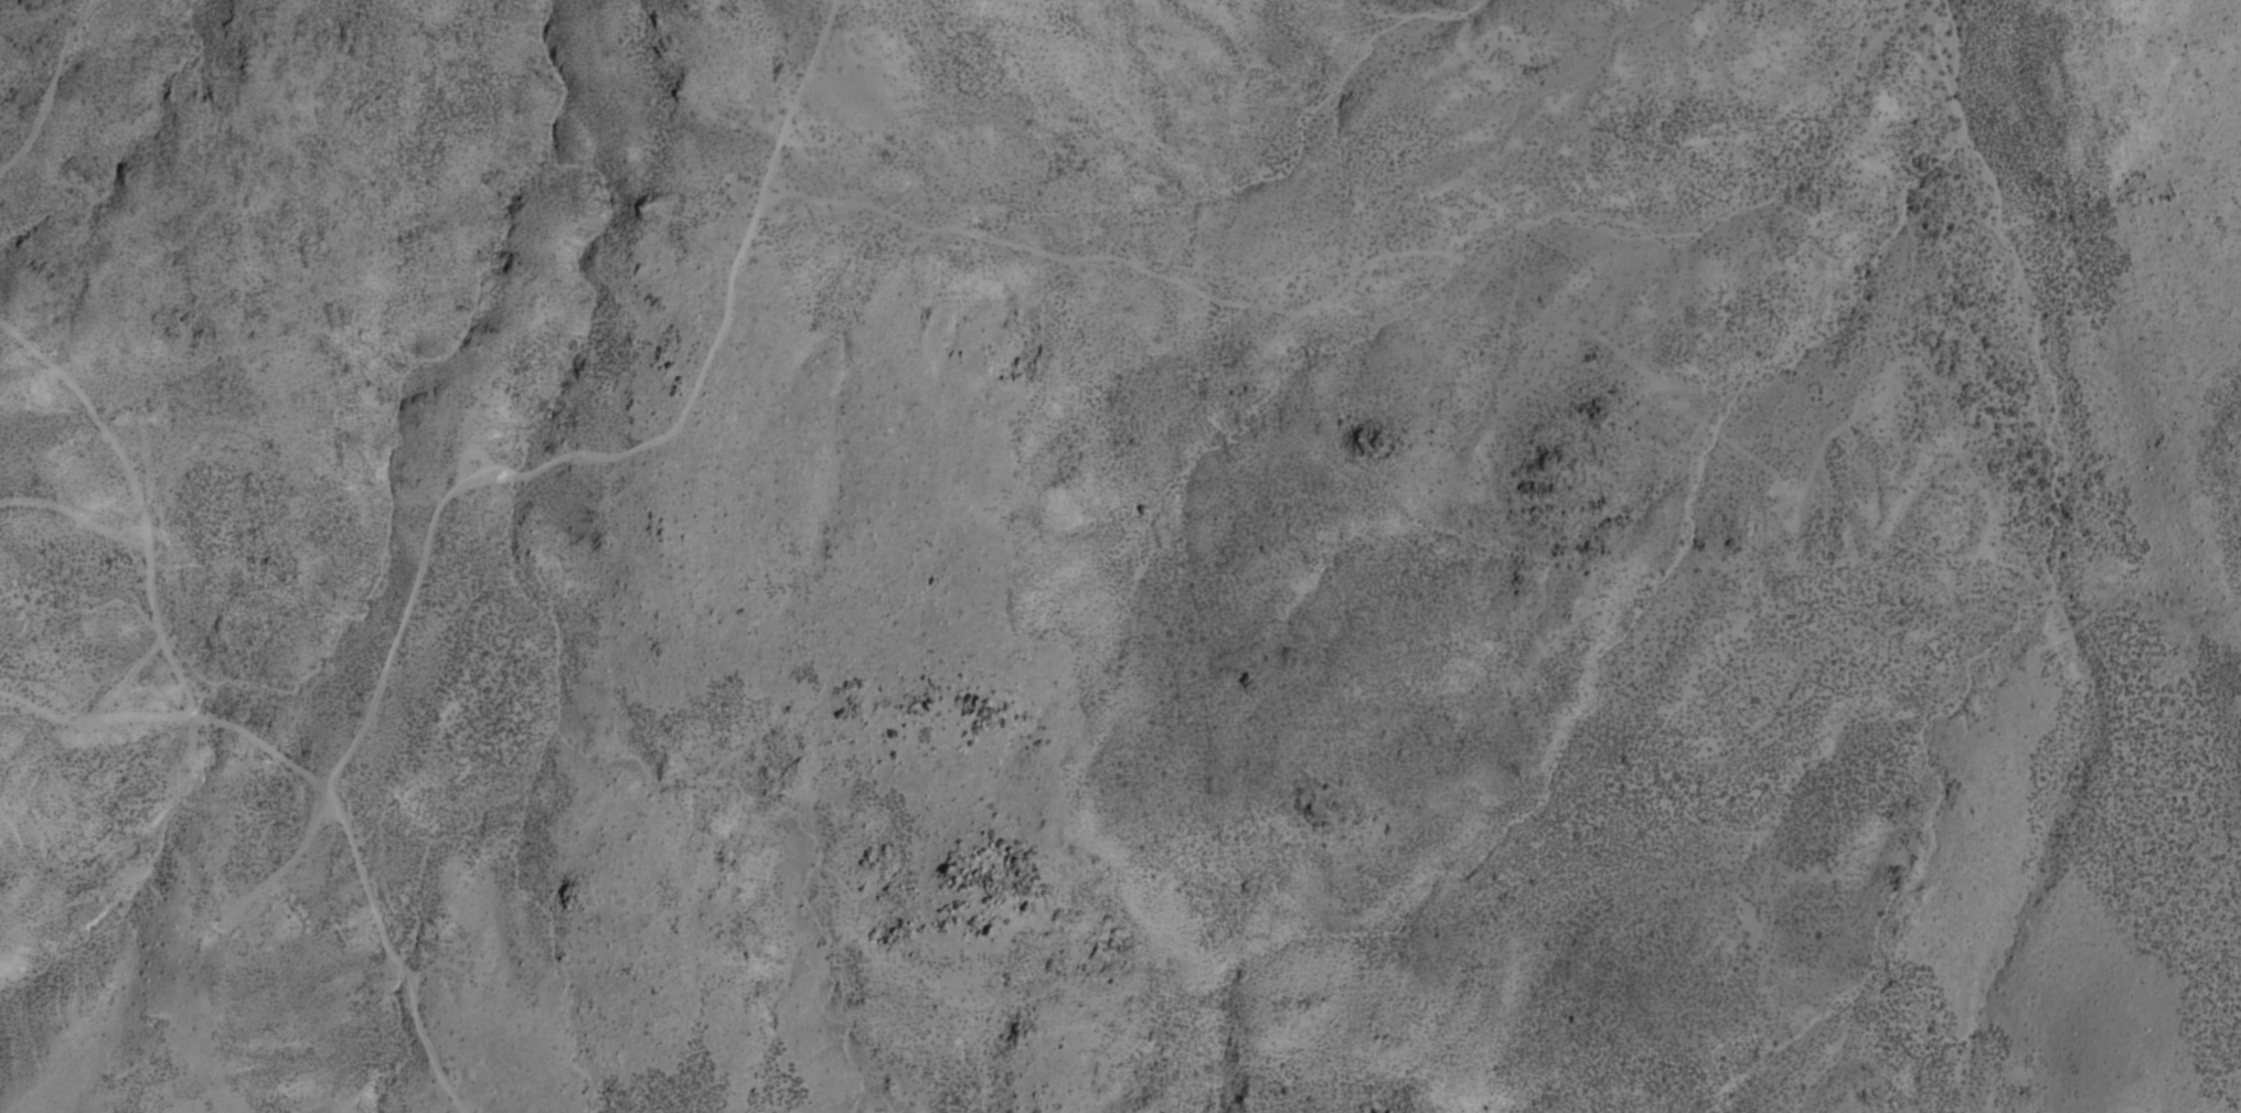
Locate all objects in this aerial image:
road: (52, 92)
road: (1331, 295)
road: (630, 449)
road: (136, 499)
road: (172, 718)
road: (394, 953)

